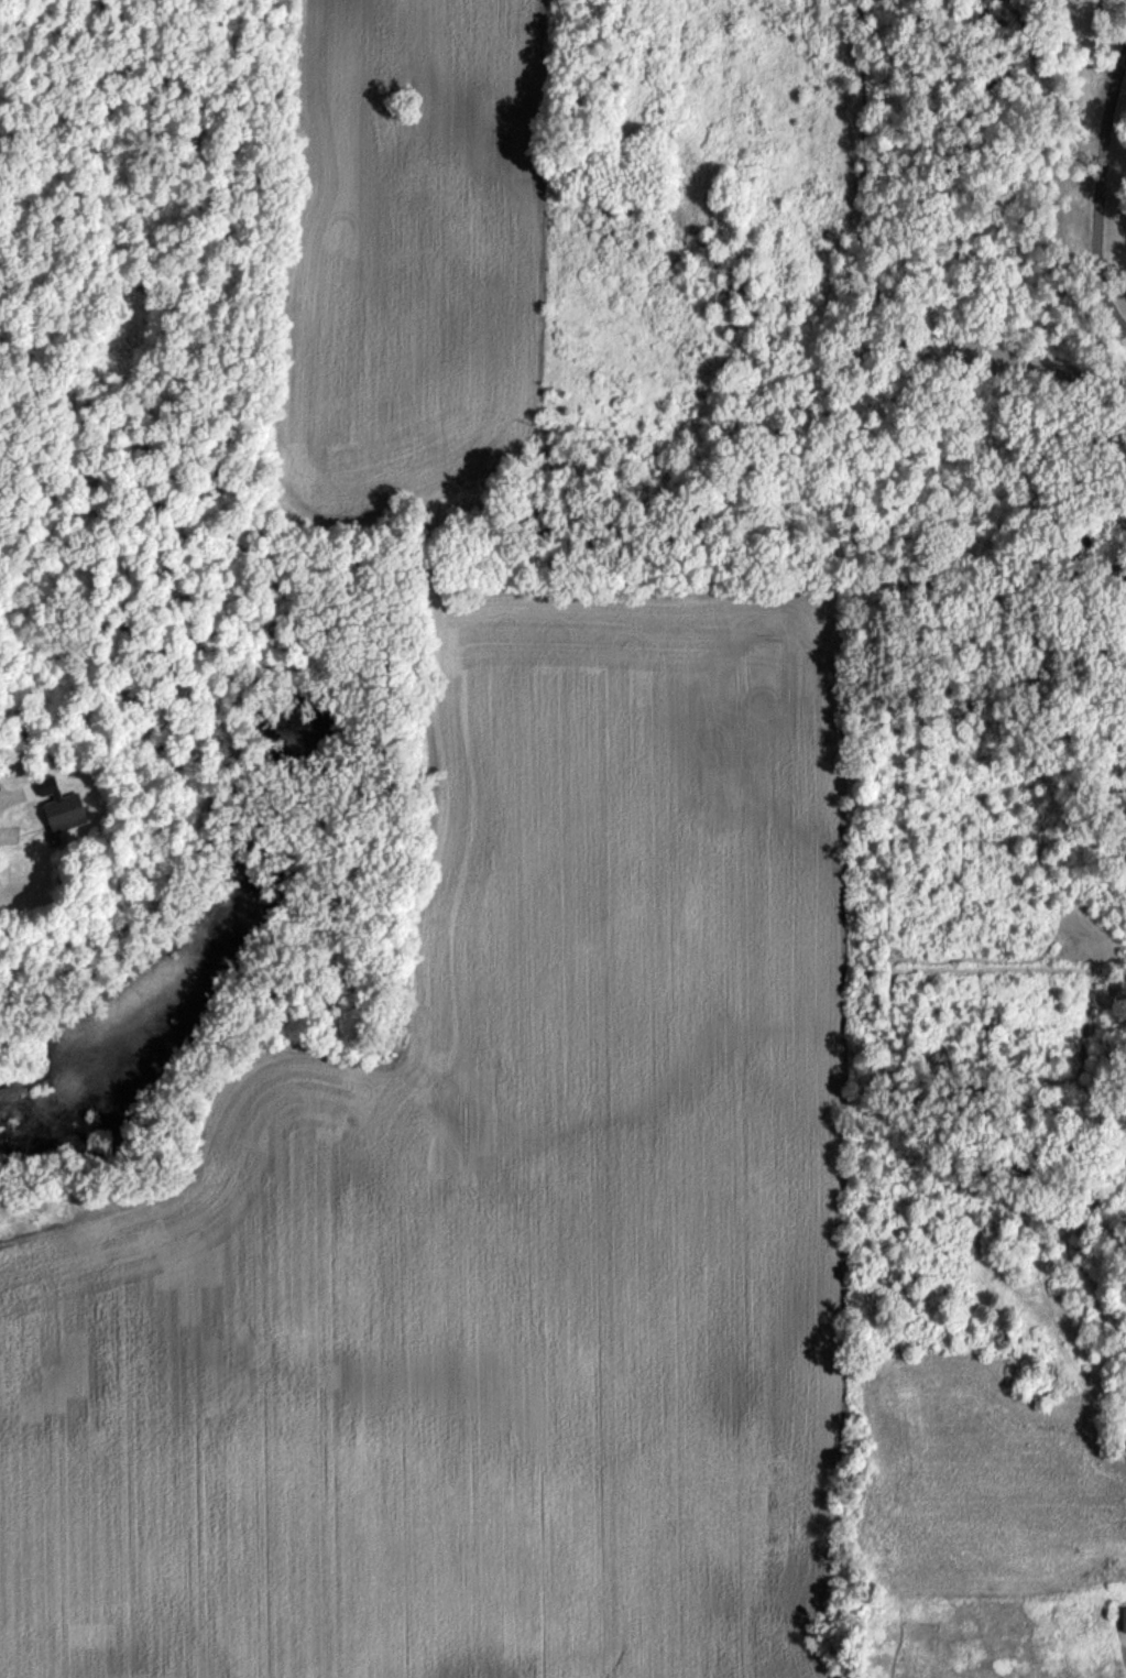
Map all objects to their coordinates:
road: (1103, 193)
building: (66, 813)
road: (1, 833)
crop: (566, 1264)
building: (1124, 1620)

